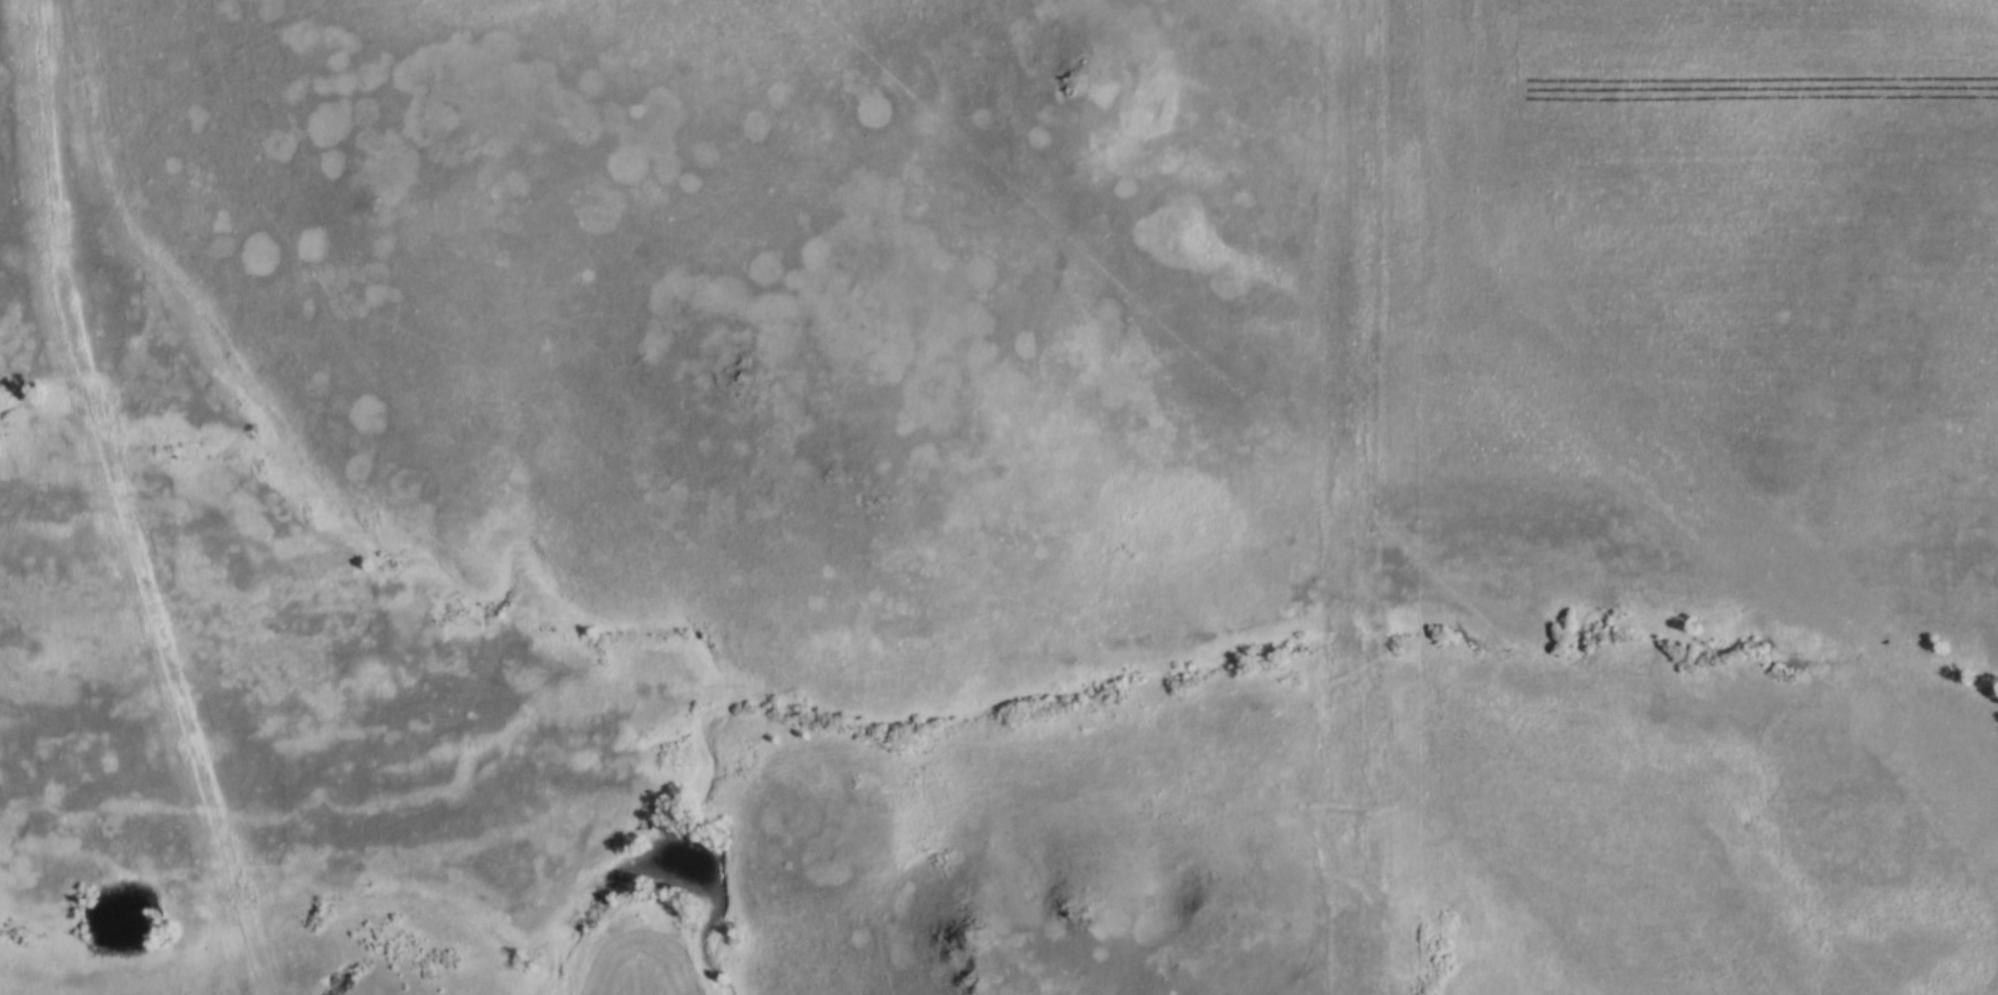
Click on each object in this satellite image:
road: (143, 142)
road: (11, 387)

